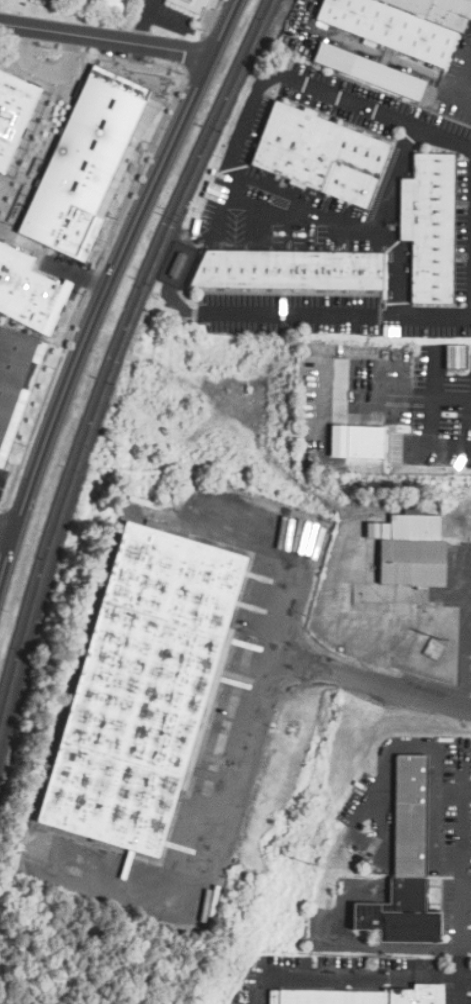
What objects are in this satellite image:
building: (115, 4)
building: (190, 4)
building: (402, 24)
road: (222, 28)
road: (105, 41)
road: (44, 72)
building: (368, 73)
road: (460, 83)
building: (12, 117)
building: (319, 155)
road: (234, 176)
road: (395, 176)
building: (72, 196)
building: (428, 225)
building: (288, 270)
road: (304, 312)
road: (96, 314)
railway: (113, 343)
building: (455, 357)
railway: (117, 359)
building: (15, 380)
road: (442, 389)
road: (384, 390)
road: (468, 422)
building: (365, 442)
building: (423, 449)
road: (6, 535)
building: (412, 548)
road: (288, 620)
building: (142, 690)
road: (253, 742)
road: (377, 789)
building: (402, 865)
road: (456, 897)
road: (463, 935)
road: (350, 975)
building: (359, 996)

